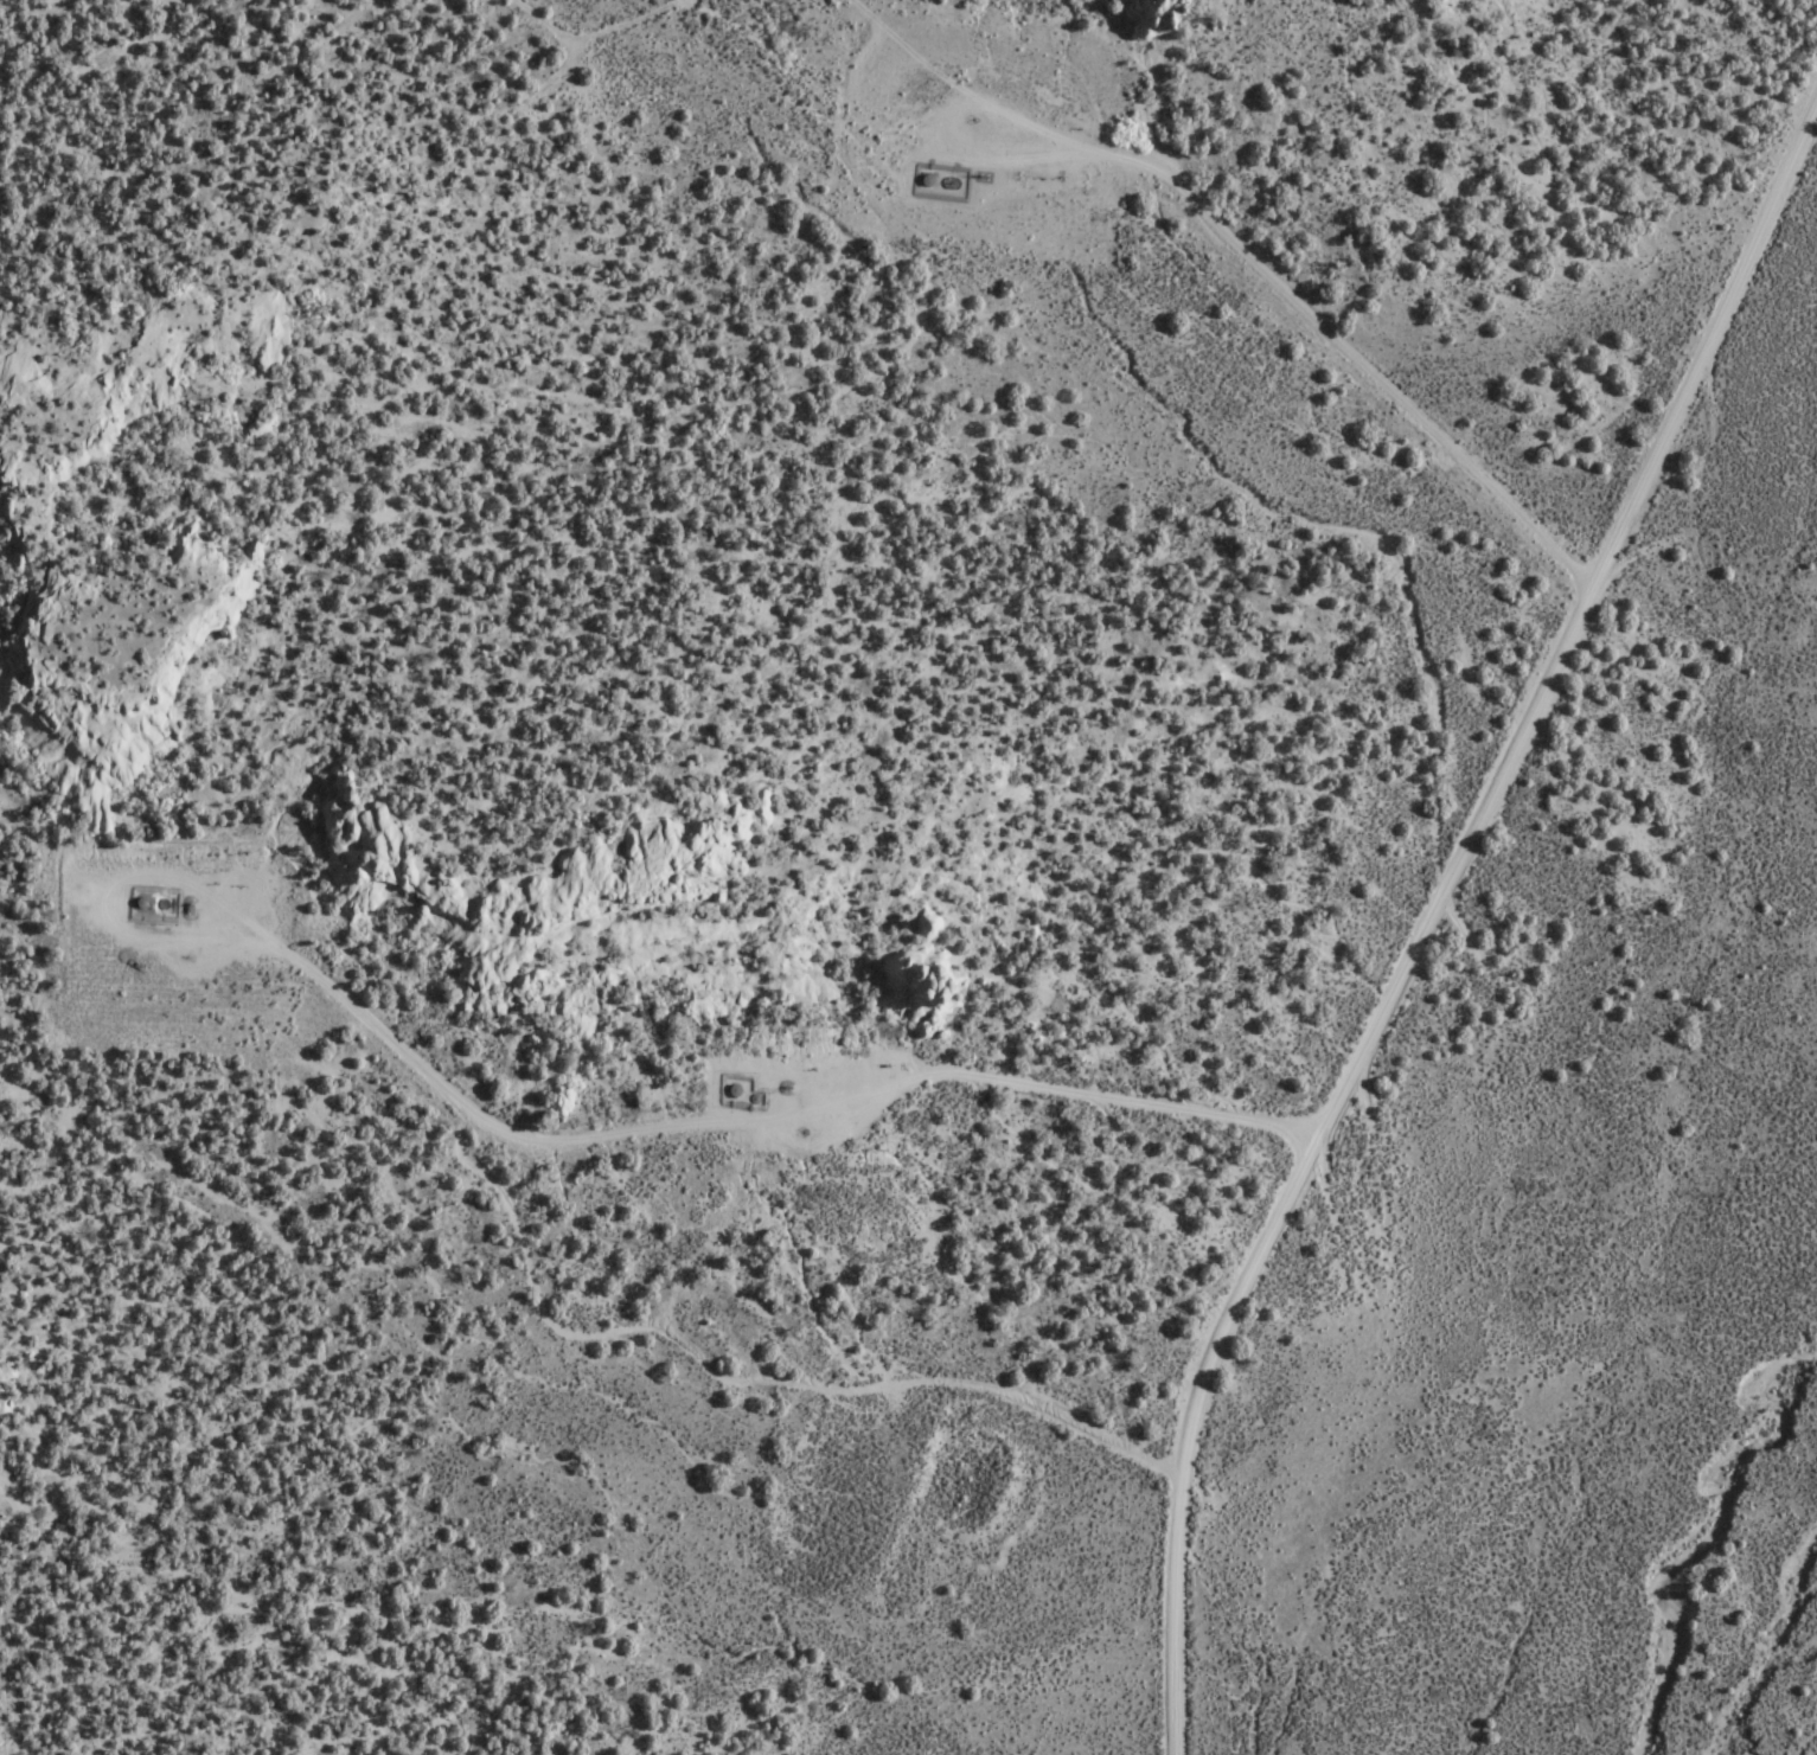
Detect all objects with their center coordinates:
road: (1386, 911)
road: (985, 1416)
river: (1704, 1512)
road: (1786, 1672)

